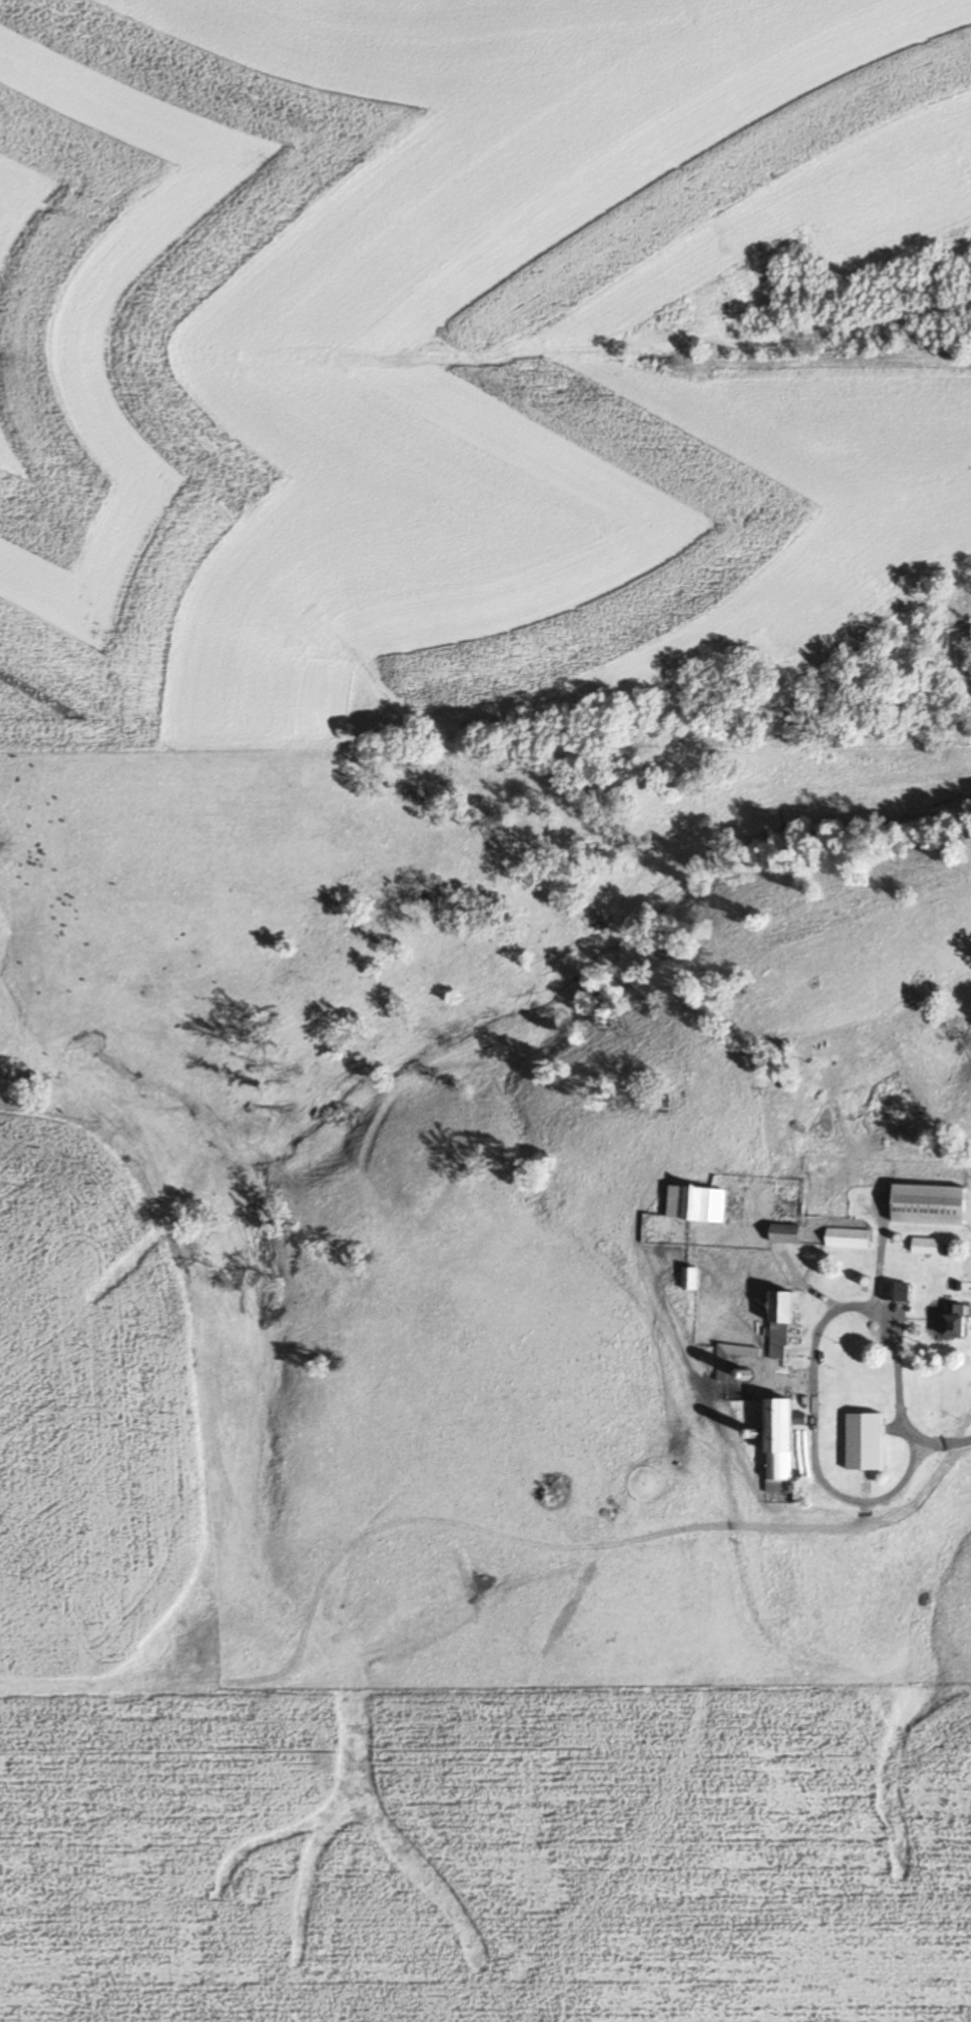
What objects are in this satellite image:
building: (695, 1204)
building: (929, 1205)
building: (784, 1234)
building: (847, 1238)
building: (925, 1246)
building: (689, 1279)
building: (895, 1291)
building: (955, 1320)
building: (780, 1322)
building: (722, 1365)
road: (812, 1365)
building: (864, 1442)
road: (950, 1442)
building: (779, 1446)

